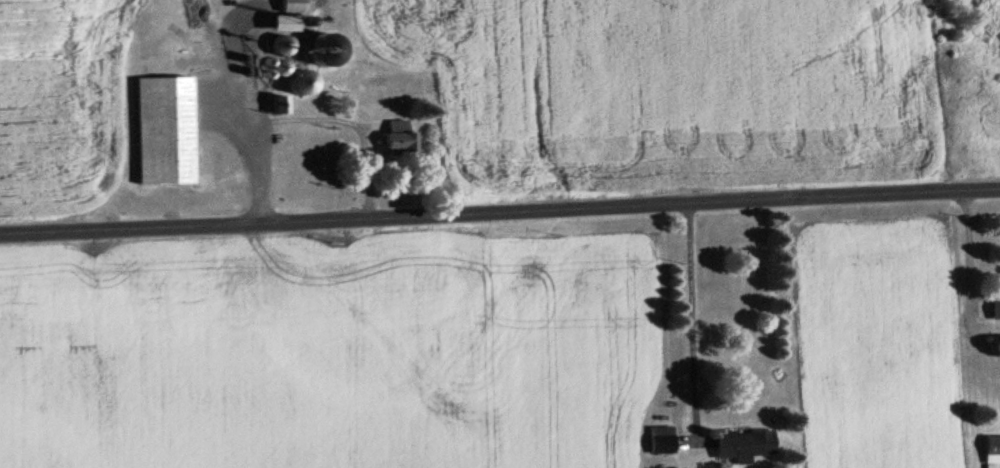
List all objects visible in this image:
building: (284, 15)
building: (322, 48)
building: (294, 81)
building: (275, 102)
building: (160, 128)
building: (395, 136)
road: (499, 210)
road: (963, 246)
building: (993, 306)
road: (690, 320)
building: (659, 437)
building: (740, 444)
building: (990, 449)

